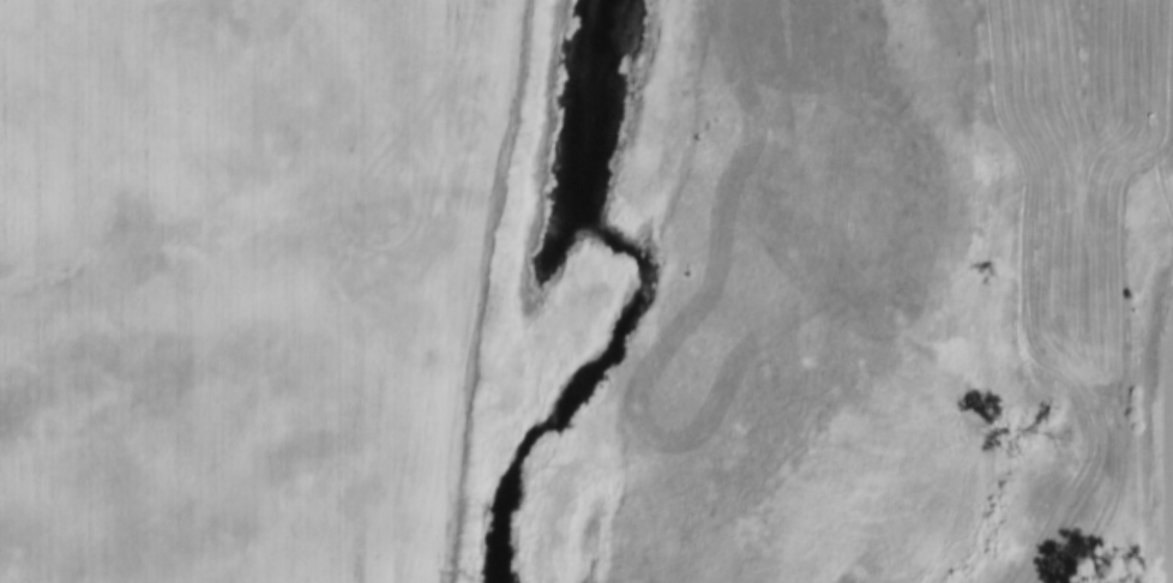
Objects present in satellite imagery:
road: (1169, 451)
road: (1065, 476)

